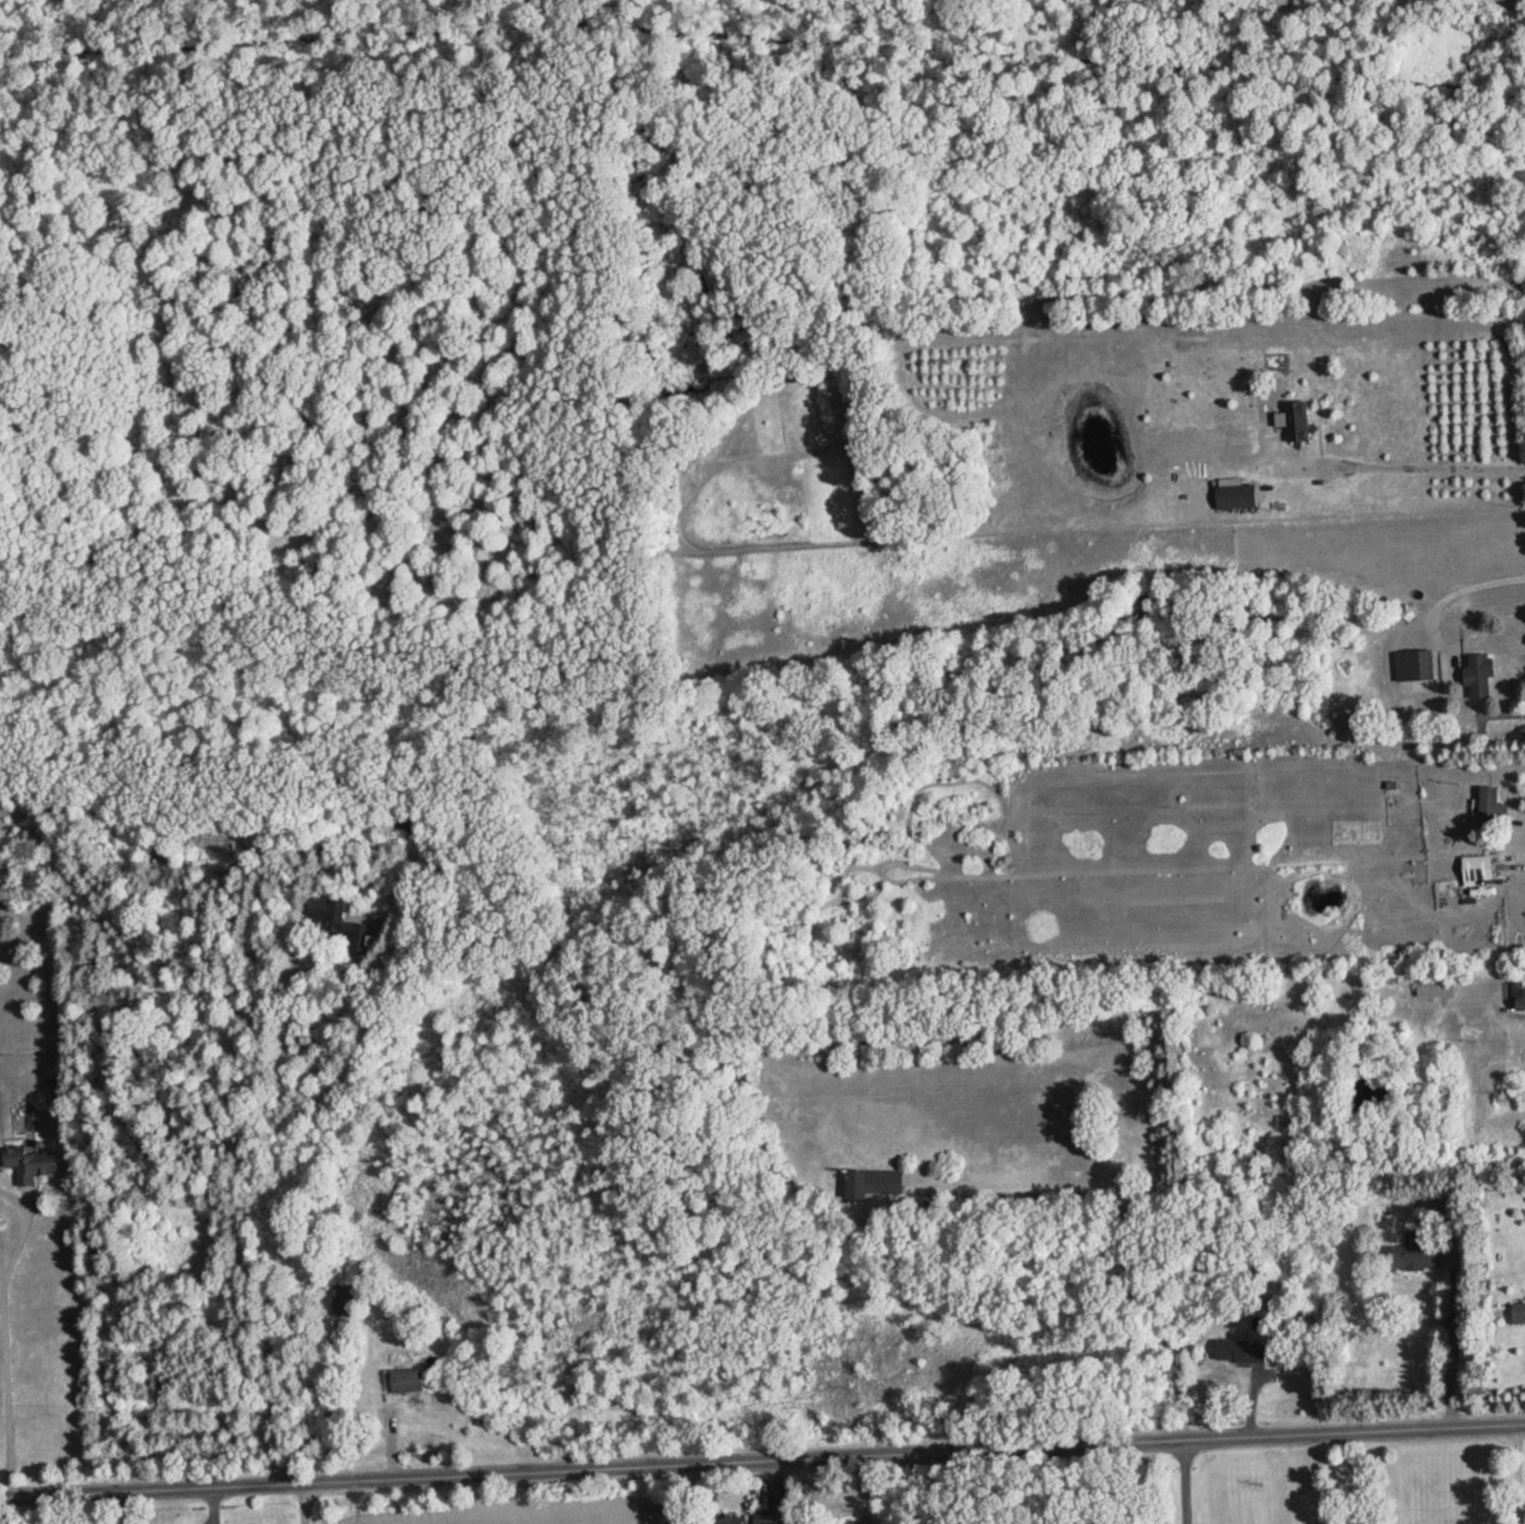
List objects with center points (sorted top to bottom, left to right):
building: (1301, 421)
road: (1425, 468)
building: (1238, 495)
road: (1460, 593)
building: (1416, 664)
building: (1481, 673)
road: (1470, 718)
building: (1493, 804)
building: (1478, 868)
building: (331, 911)
building: (1436, 986)
building: (1519, 995)
building: (32, 1163)
building: (874, 1182)
road: (237, 1215)
road: (1124, 1221)
building: (1419, 1254)
building: (345, 1300)
building: (1519, 1311)
road: (1455, 1345)
building: (1242, 1351)
road: (7, 1354)
building: (410, 1381)
road: (762, 1459)
road: (1519, 1475)
road: (1349, 1478)
road: (1189, 1481)
road: (918, 1488)
road: (696, 1493)
road: (213, 1505)
road: (119, 1507)
building: (734, 1518)
building: (862, 1522)

